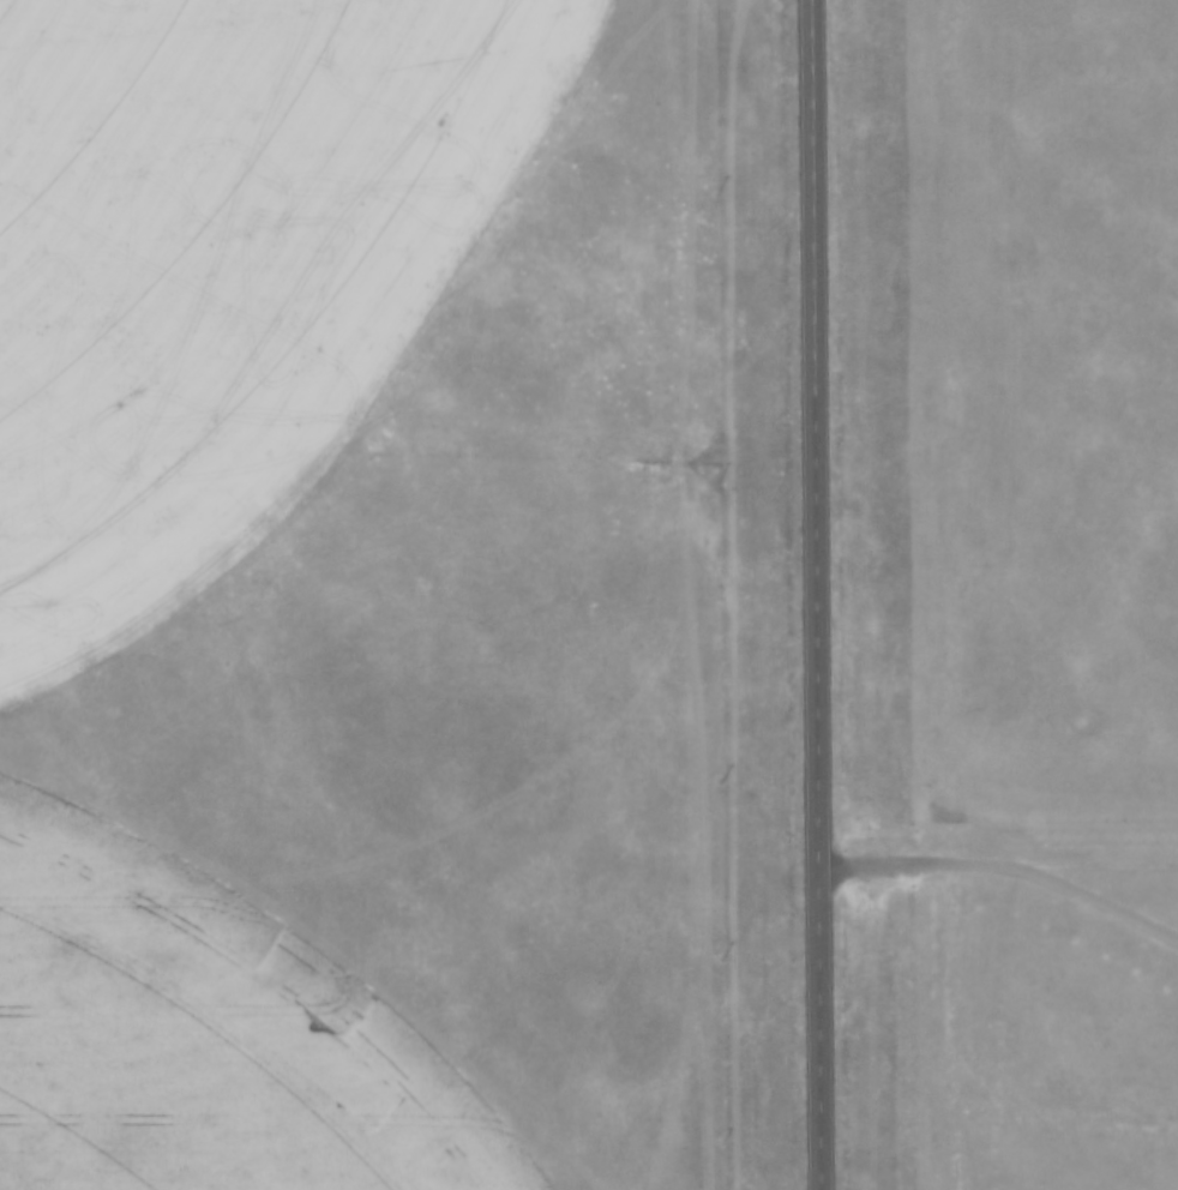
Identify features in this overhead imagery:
road: (812, 594)

